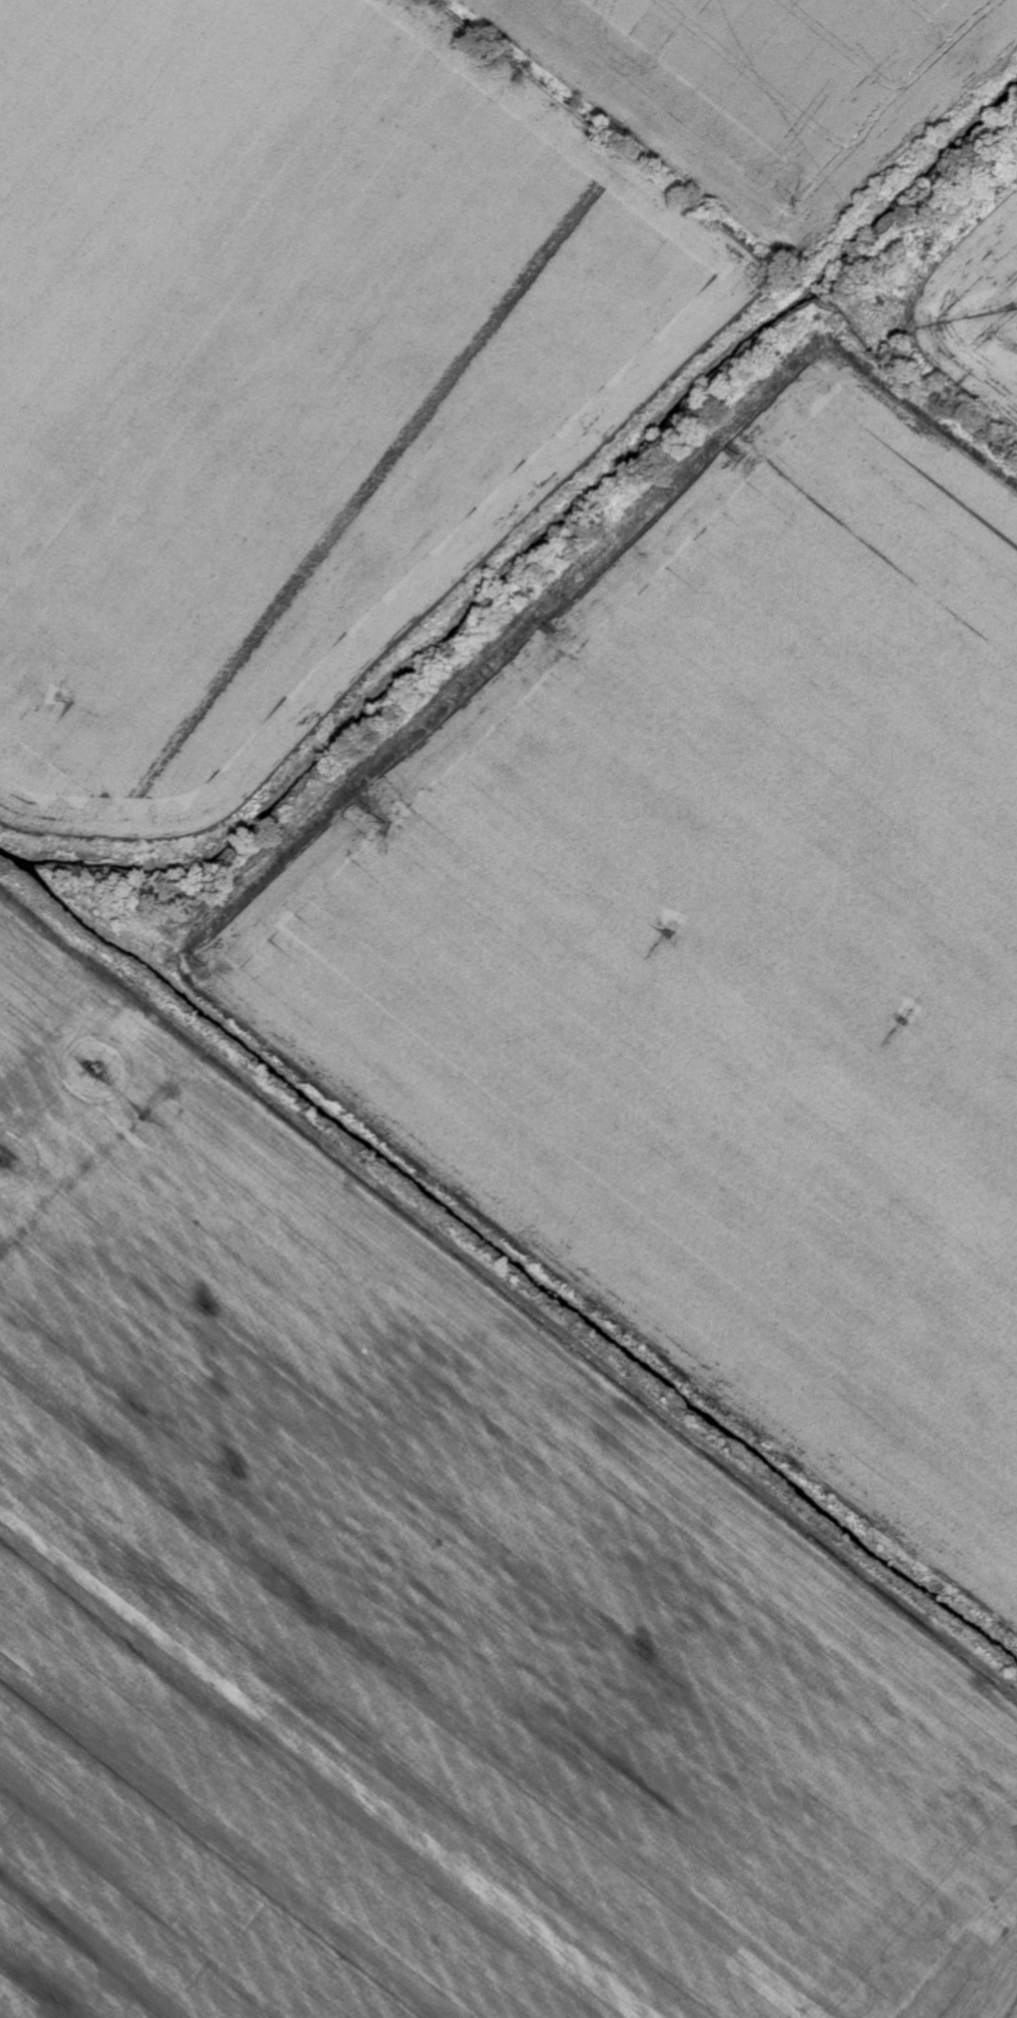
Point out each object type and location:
road: (508, 1273)

